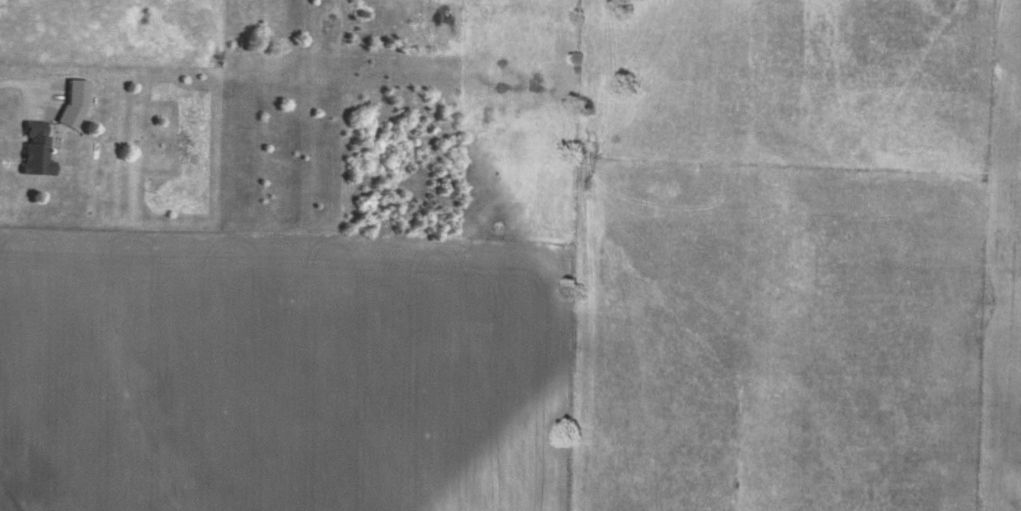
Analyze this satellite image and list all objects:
road: (25, 101)
building: (73, 101)
building: (36, 149)

